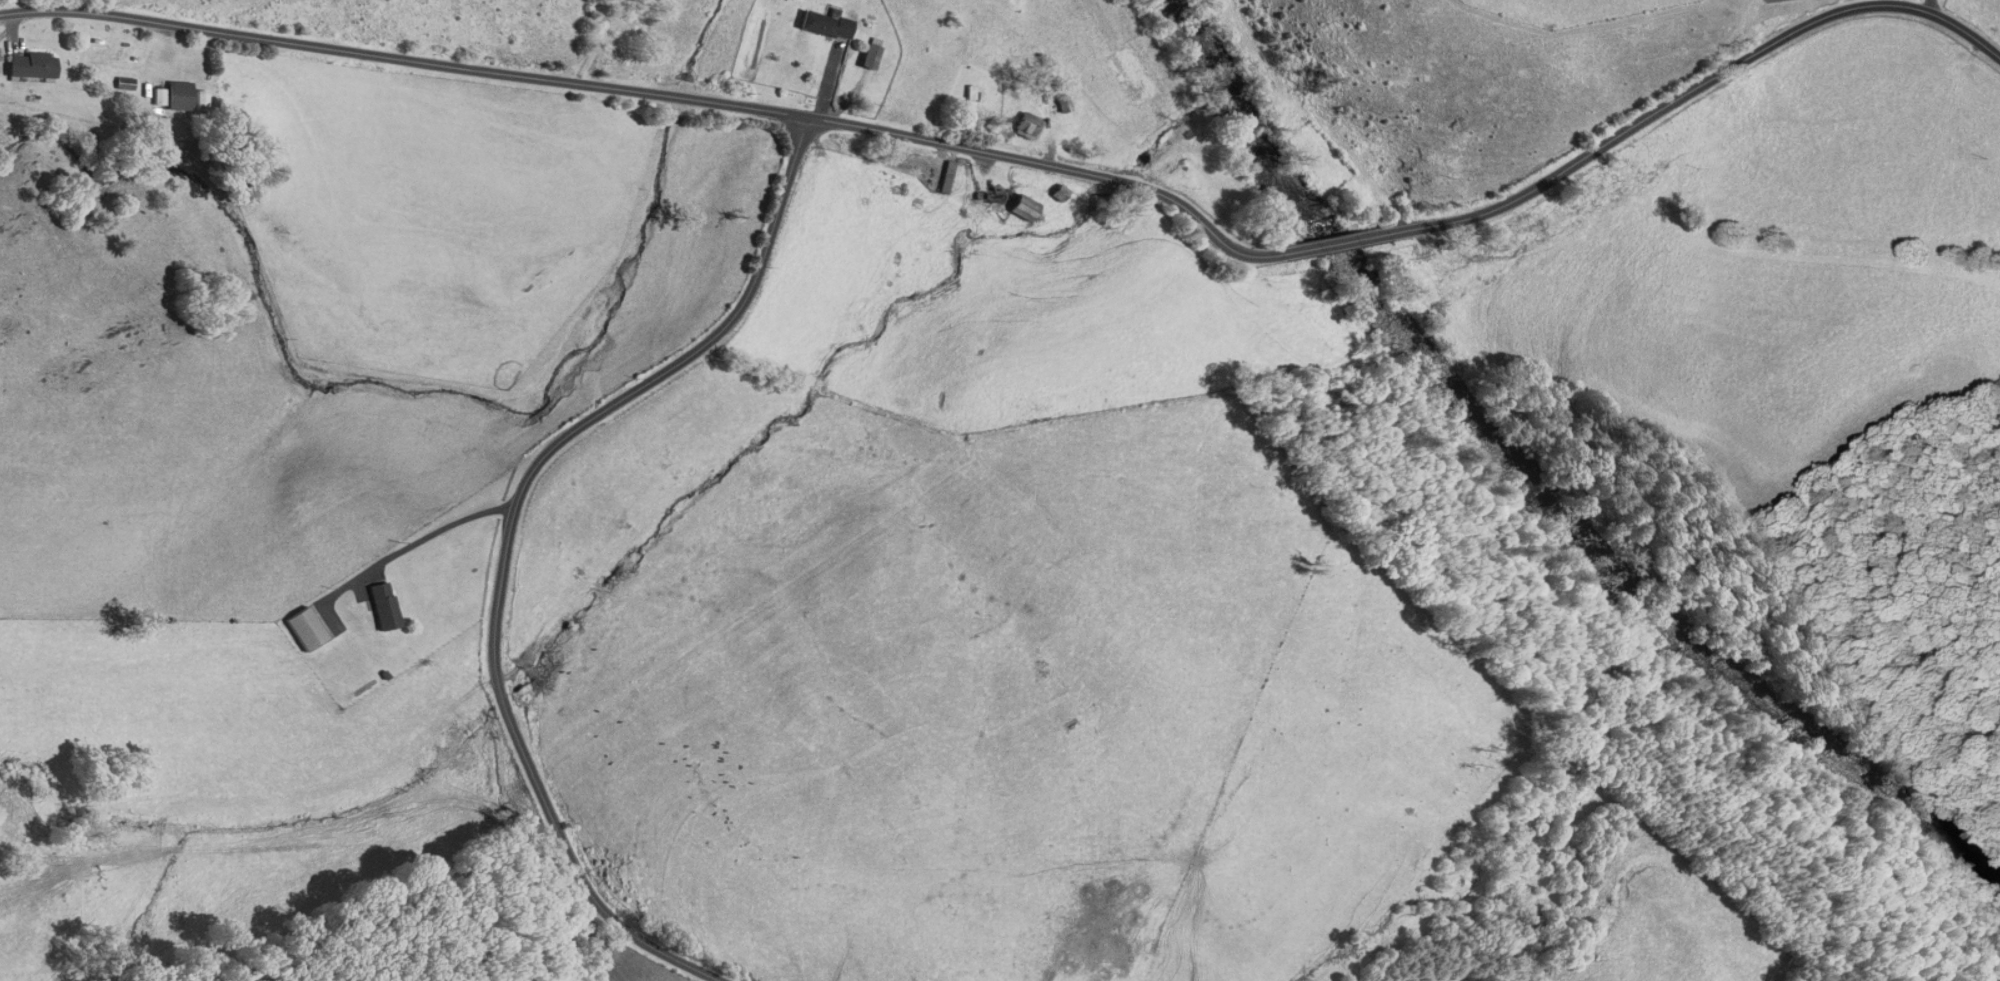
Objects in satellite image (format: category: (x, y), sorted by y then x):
building: (1778, 0)
building: (823, 25)
river: (1217, 42)
building: (863, 58)
building: (25, 64)
building: (121, 82)
building: (176, 95)
building: (1060, 104)
building: (969, 105)
building: (1025, 125)
road: (1042, 168)
building: (945, 175)
building: (1061, 192)
building: (988, 196)
building: (1024, 207)
river: (1573, 512)
road: (506, 539)
building: (374, 605)
building: (302, 628)

